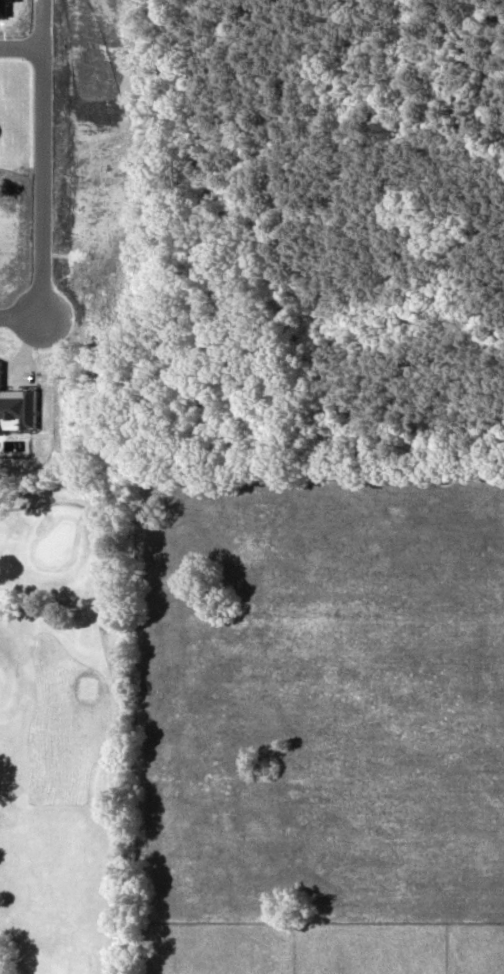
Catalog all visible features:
park: (65, 727)

